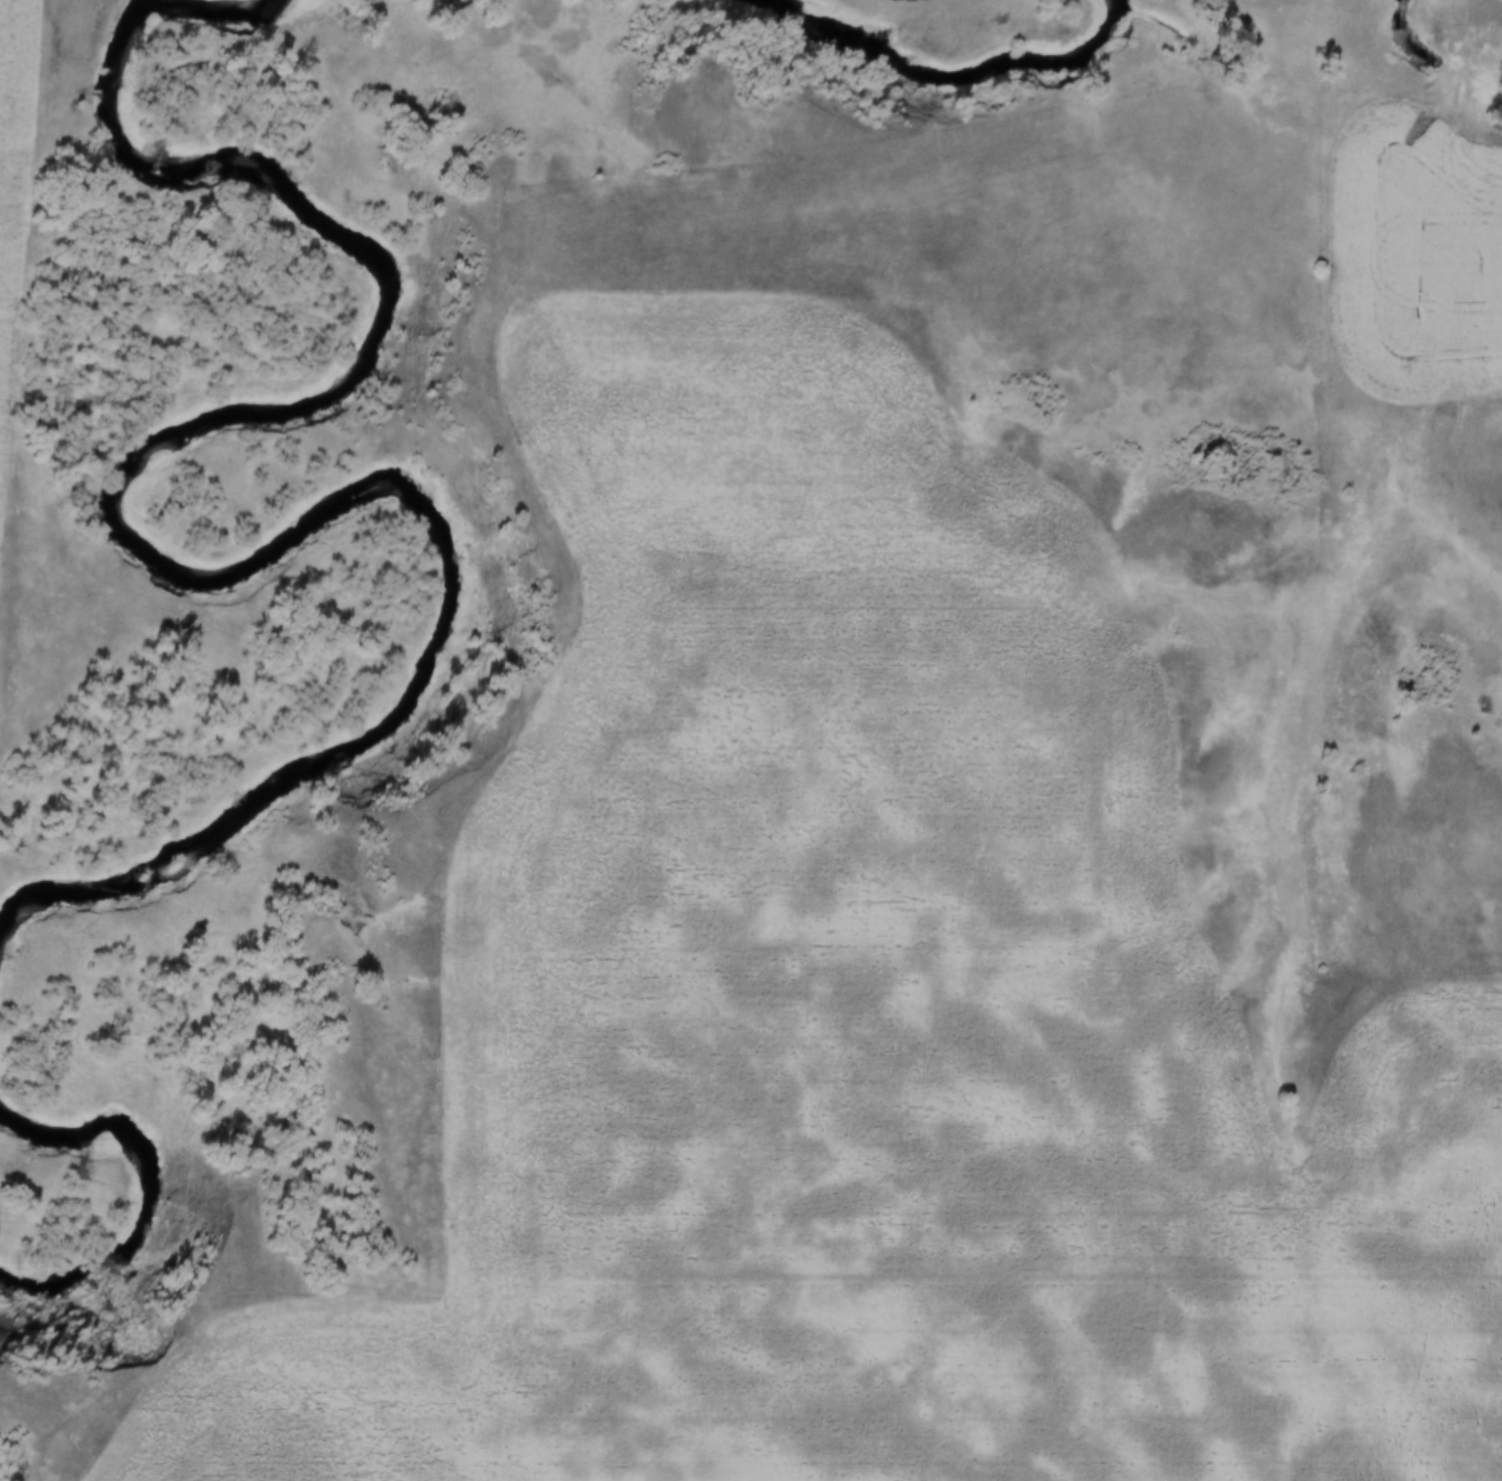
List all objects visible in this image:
road: (1475, 90)

